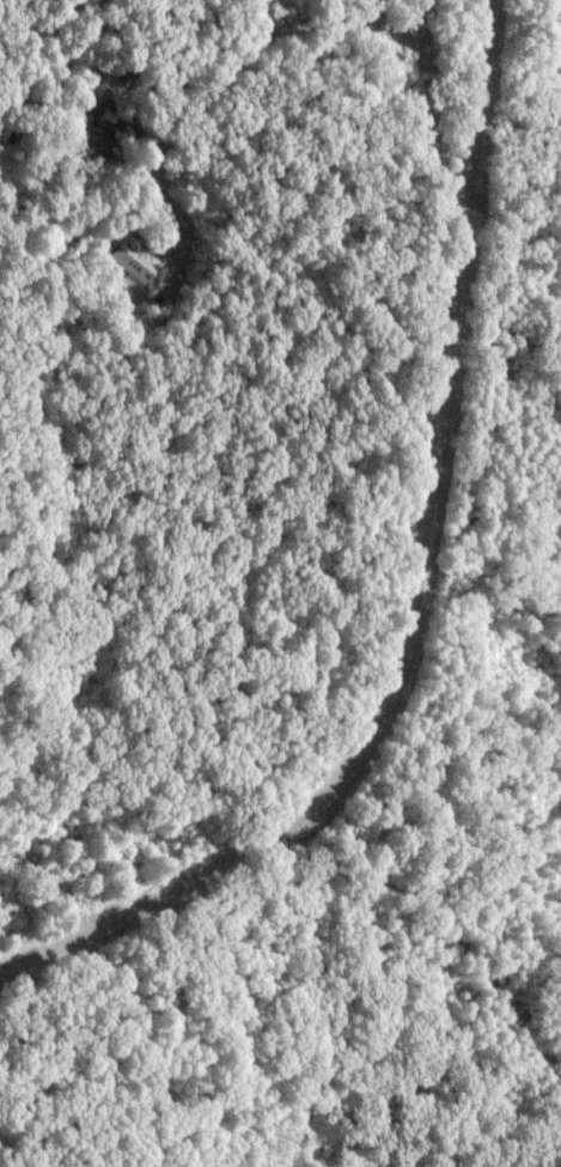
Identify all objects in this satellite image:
building: (104, 122)
road: (262, 166)
building: (135, 265)
road: (417, 590)
road: (459, 913)

